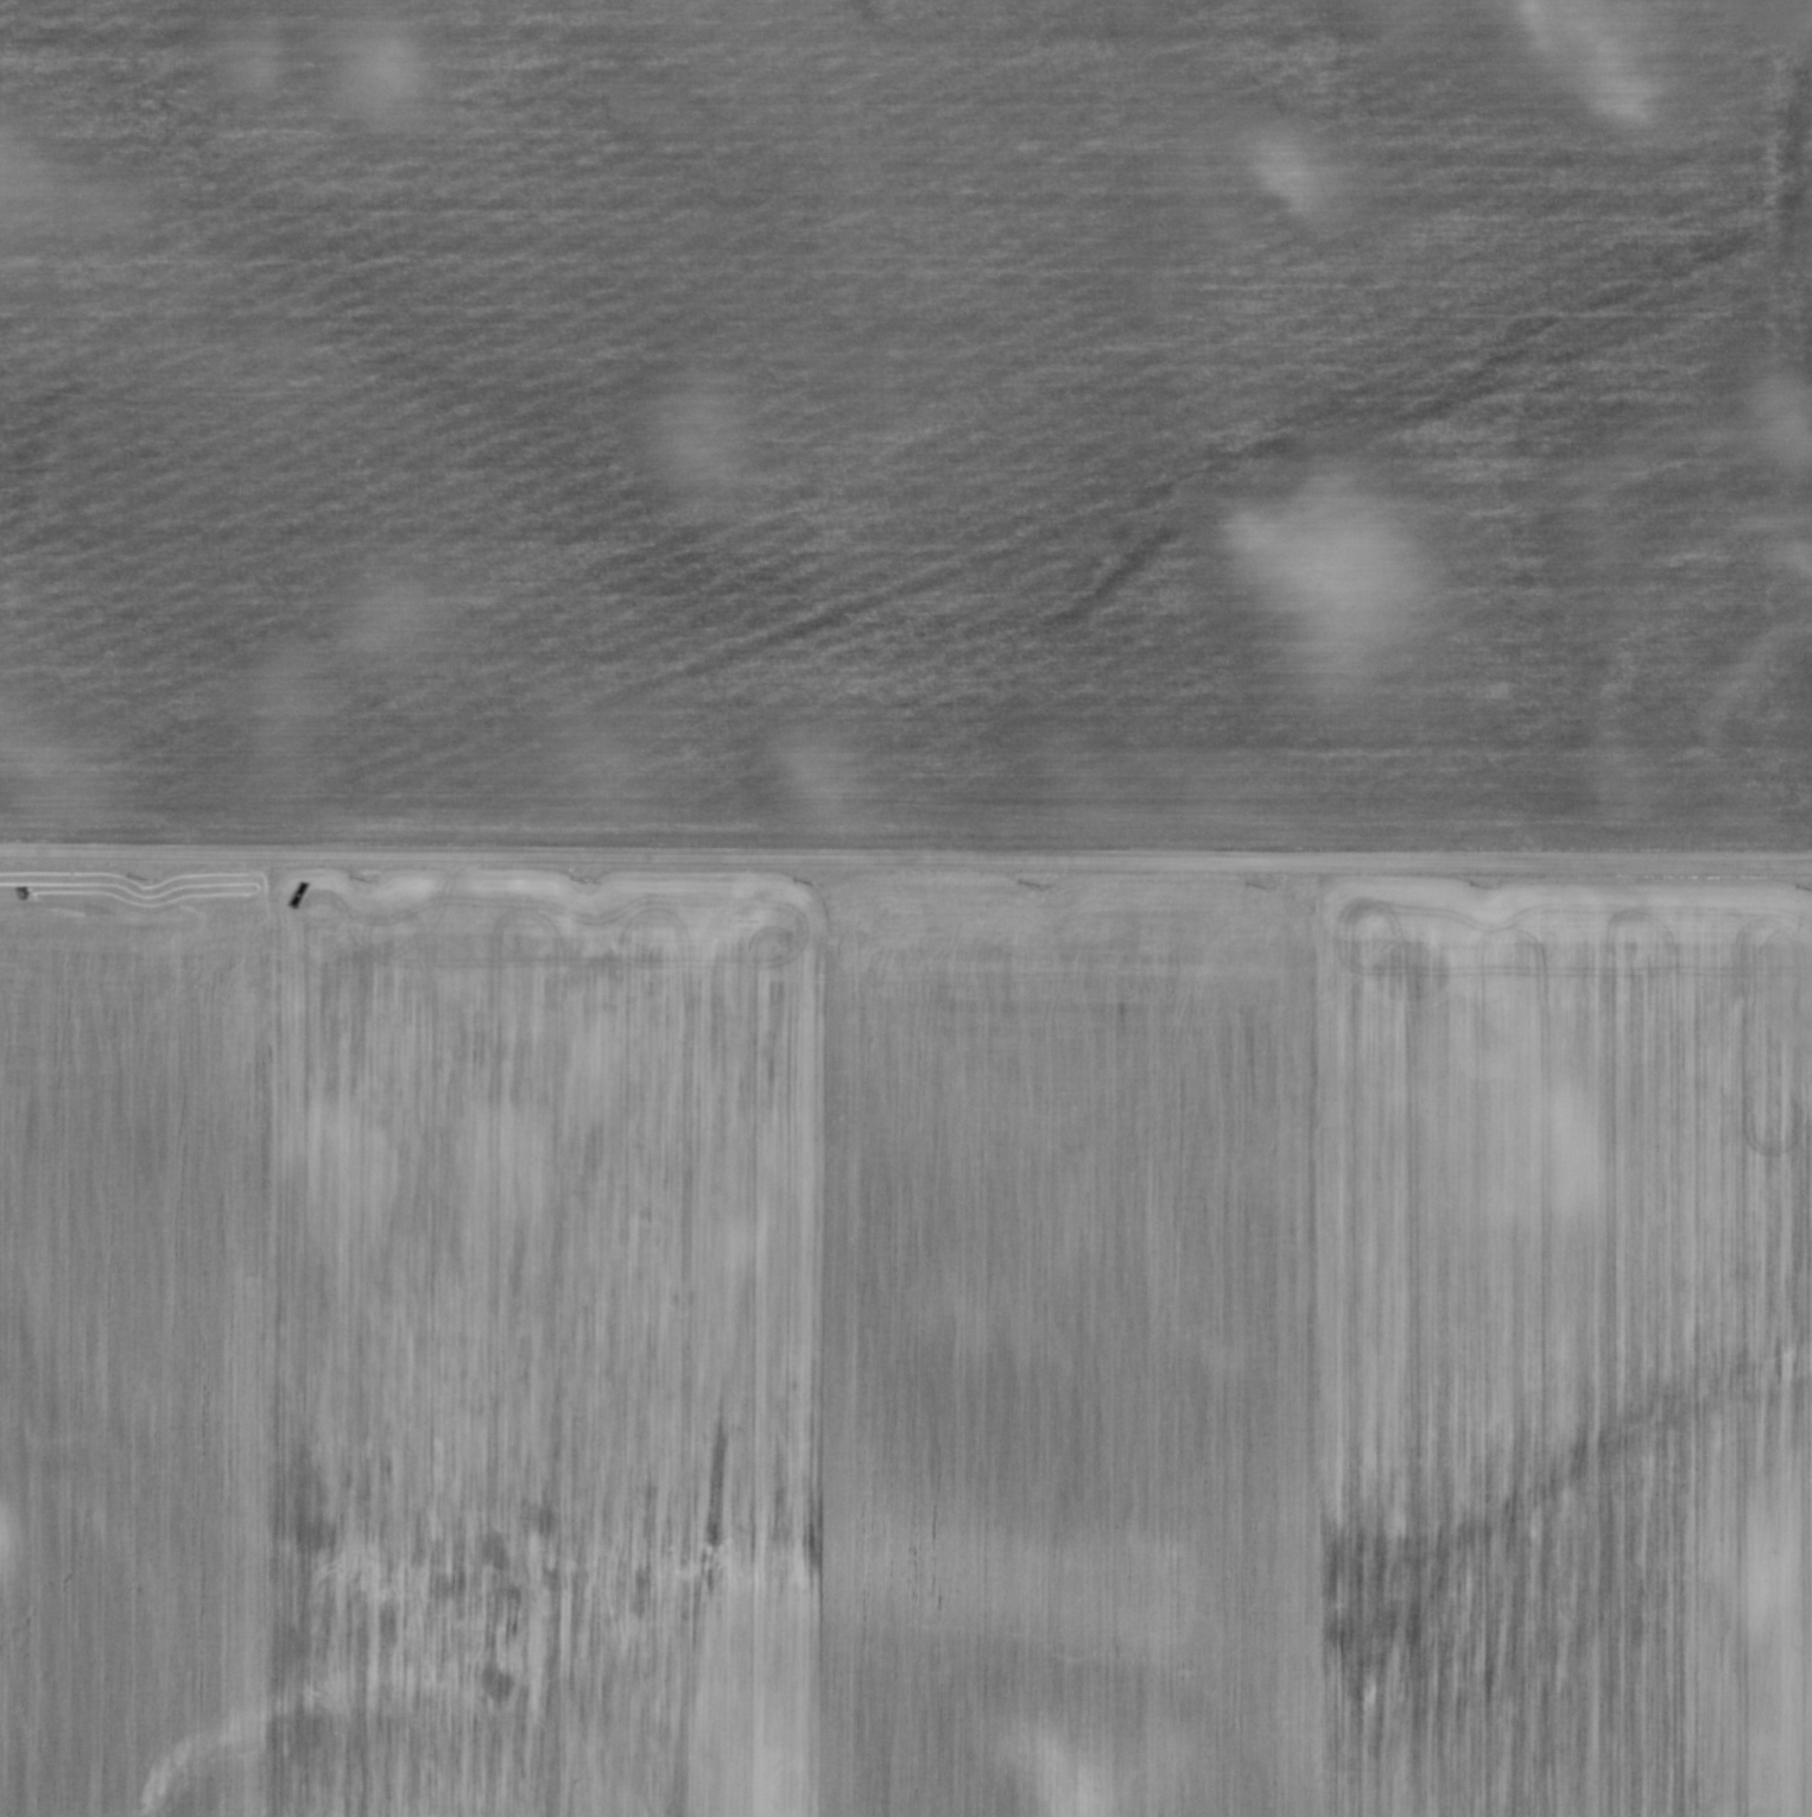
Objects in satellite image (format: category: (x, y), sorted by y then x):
crop: (908, 413)
road: (905, 855)
crop: (902, 1344)

